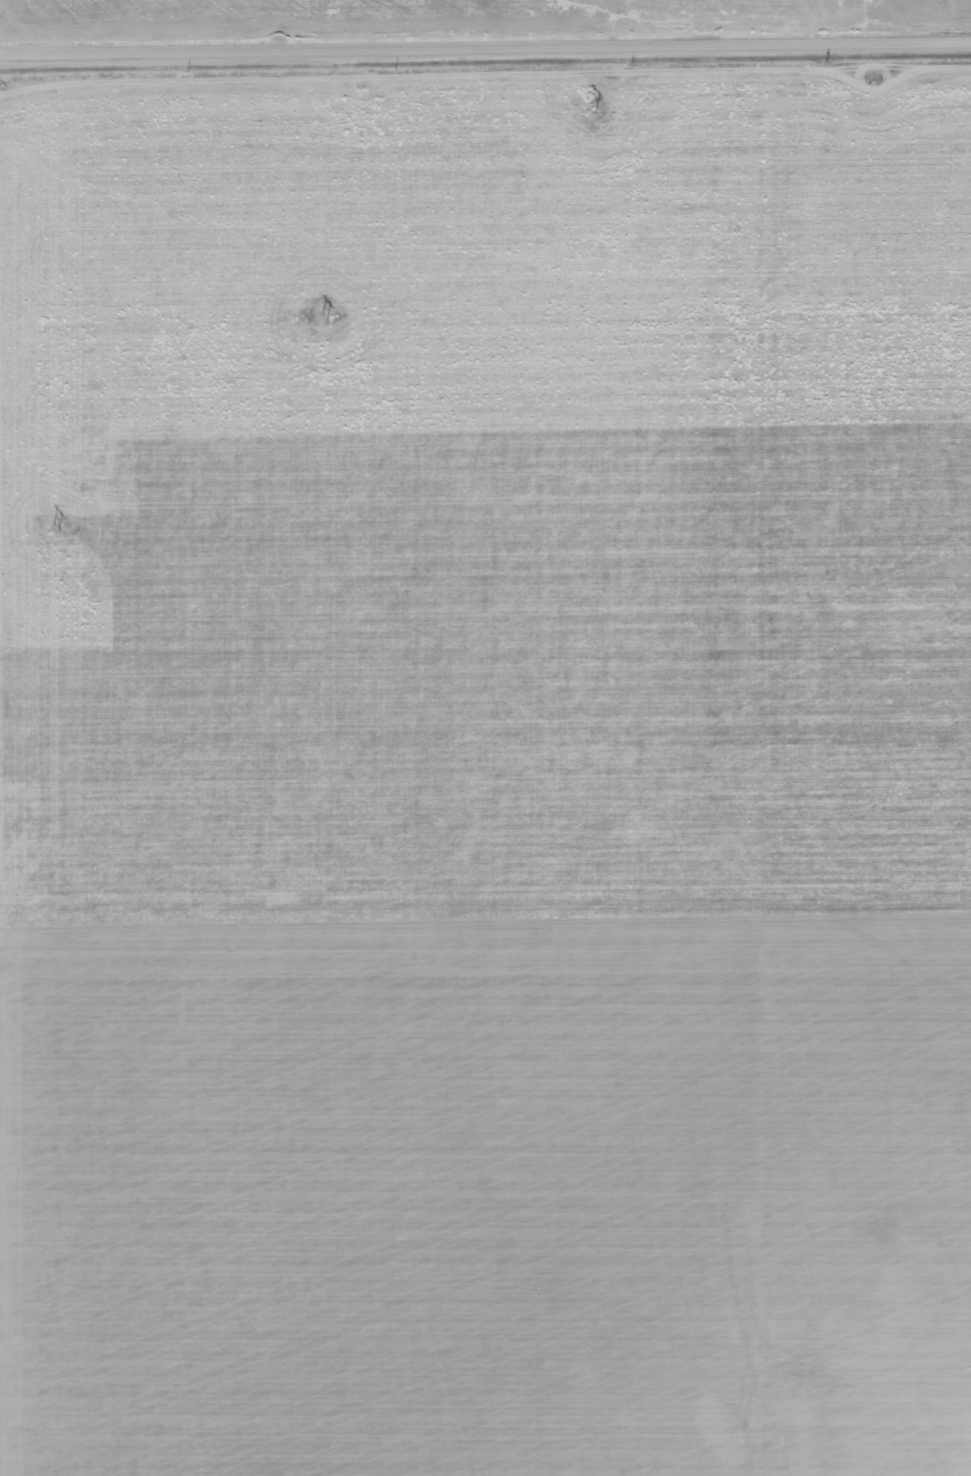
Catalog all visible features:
road: (485, 52)
power tower: (592, 108)
power tower: (323, 317)
power tower: (54, 527)

